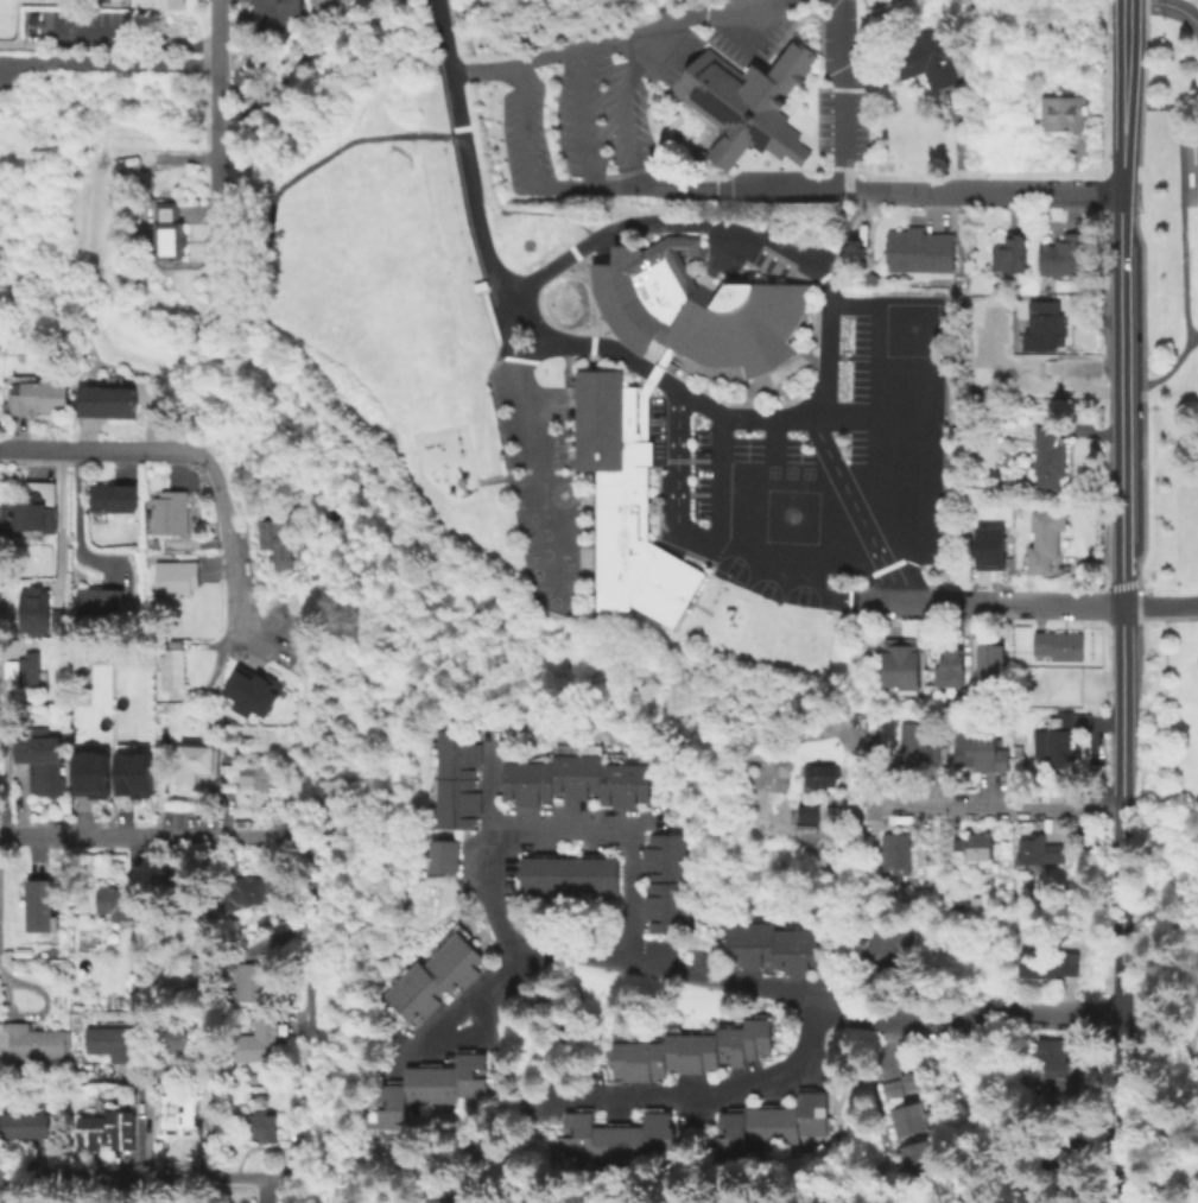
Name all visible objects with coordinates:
building: (324, 2)
building: (154, 4)
road: (1165, 4)
building: (271, 14)
road: (682, 30)
road: (147, 42)
street lamp: (1104, 50)
road: (839, 52)
road: (552, 56)
building: (925, 57)
road: (108, 63)
road: (486, 70)
road: (1121, 96)
building: (741, 102)
road: (623, 110)
building: (1063, 113)
road: (579, 120)
road: (220, 124)
building: (129, 151)
road: (467, 154)
road: (526, 158)
building: (1091, 164)
road: (620, 190)
road: (710, 190)
road: (798, 190)
road: (861, 190)
road: (997, 192)
park: (368, 194)
road: (1179, 195)
building: (171, 233)
building: (917, 249)
building: (1010, 253)
building: (1064, 255)
road: (806, 262)
building: (715, 310)
road: (508, 323)
building: (1042, 324)
road: (598, 347)
road: (1167, 372)
road: (652, 374)
building: (40, 397)
road: (1120, 400)
building: (106, 401)
road: (14, 449)
road: (46, 450)
road: (131, 450)
building: (1050, 458)
building: (113, 496)
building: (625, 498)
building: (169, 512)
road: (857, 512)
road: (62, 515)
building: (27, 517)
road: (78, 518)
building: (1041, 539)
building: (277, 543)
road: (228, 547)
building: (987, 547)
road: (722, 553)
building: (176, 577)
park: (1171, 585)
building: (100, 601)
road: (1012, 606)
road: (1159, 607)
building: (36, 610)
road: (1162, 618)
building: (62, 620)
building: (1059, 644)
building: (988, 659)
building: (898, 661)
building: (950, 666)
building: (25, 667)
building: (173, 667)
building: (1050, 686)
building: (254, 692)
building: (968, 696)
road: (305, 711)
building: (1058, 740)
building: (917, 747)
building: (976, 747)
building: (42, 756)
building: (196, 762)
road: (2, 766)
building: (229, 766)
building: (88, 772)
building: (131, 773)
building: (816, 774)
building: (262, 775)
building: (455, 778)
building: (572, 779)
road: (489, 789)
road: (869, 805)
road: (994, 808)
building: (807, 811)
road: (153, 837)
building: (956, 843)
building: (976, 848)
building: (1039, 849)
building: (893, 851)
building: (440, 854)
building: (566, 874)
building: (664, 881)
building: (172, 885)
building: (242, 889)
building: (118, 901)
building: (40, 904)
road: (1120, 905)
road: (309, 941)
building: (771, 945)
building: (886, 948)
building: (241, 949)
road: (636, 958)
building: (1047, 963)
building: (201, 971)
building: (433, 977)
building: (249, 981)
road: (39, 1011)
road: (455, 1012)
road: (965, 1018)
road: (1159, 1022)
road: (473, 1034)
building: (172, 1039)
building: (258, 1040)
building: (112, 1041)
building: (32, 1043)
road: (1194, 1049)
building: (690, 1050)
building: (1056, 1062)
building: (251, 1079)
building: (899, 1083)
building: (432, 1088)
road: (871, 1095)
building: (183, 1113)
building: (906, 1117)
road: (144, 1119)
building: (258, 1119)
building: (771, 1121)
building: (25, 1125)
building: (106, 1127)
building: (616, 1136)
building: (1060, 1145)
building: (914, 1157)
road: (150, 1176)

